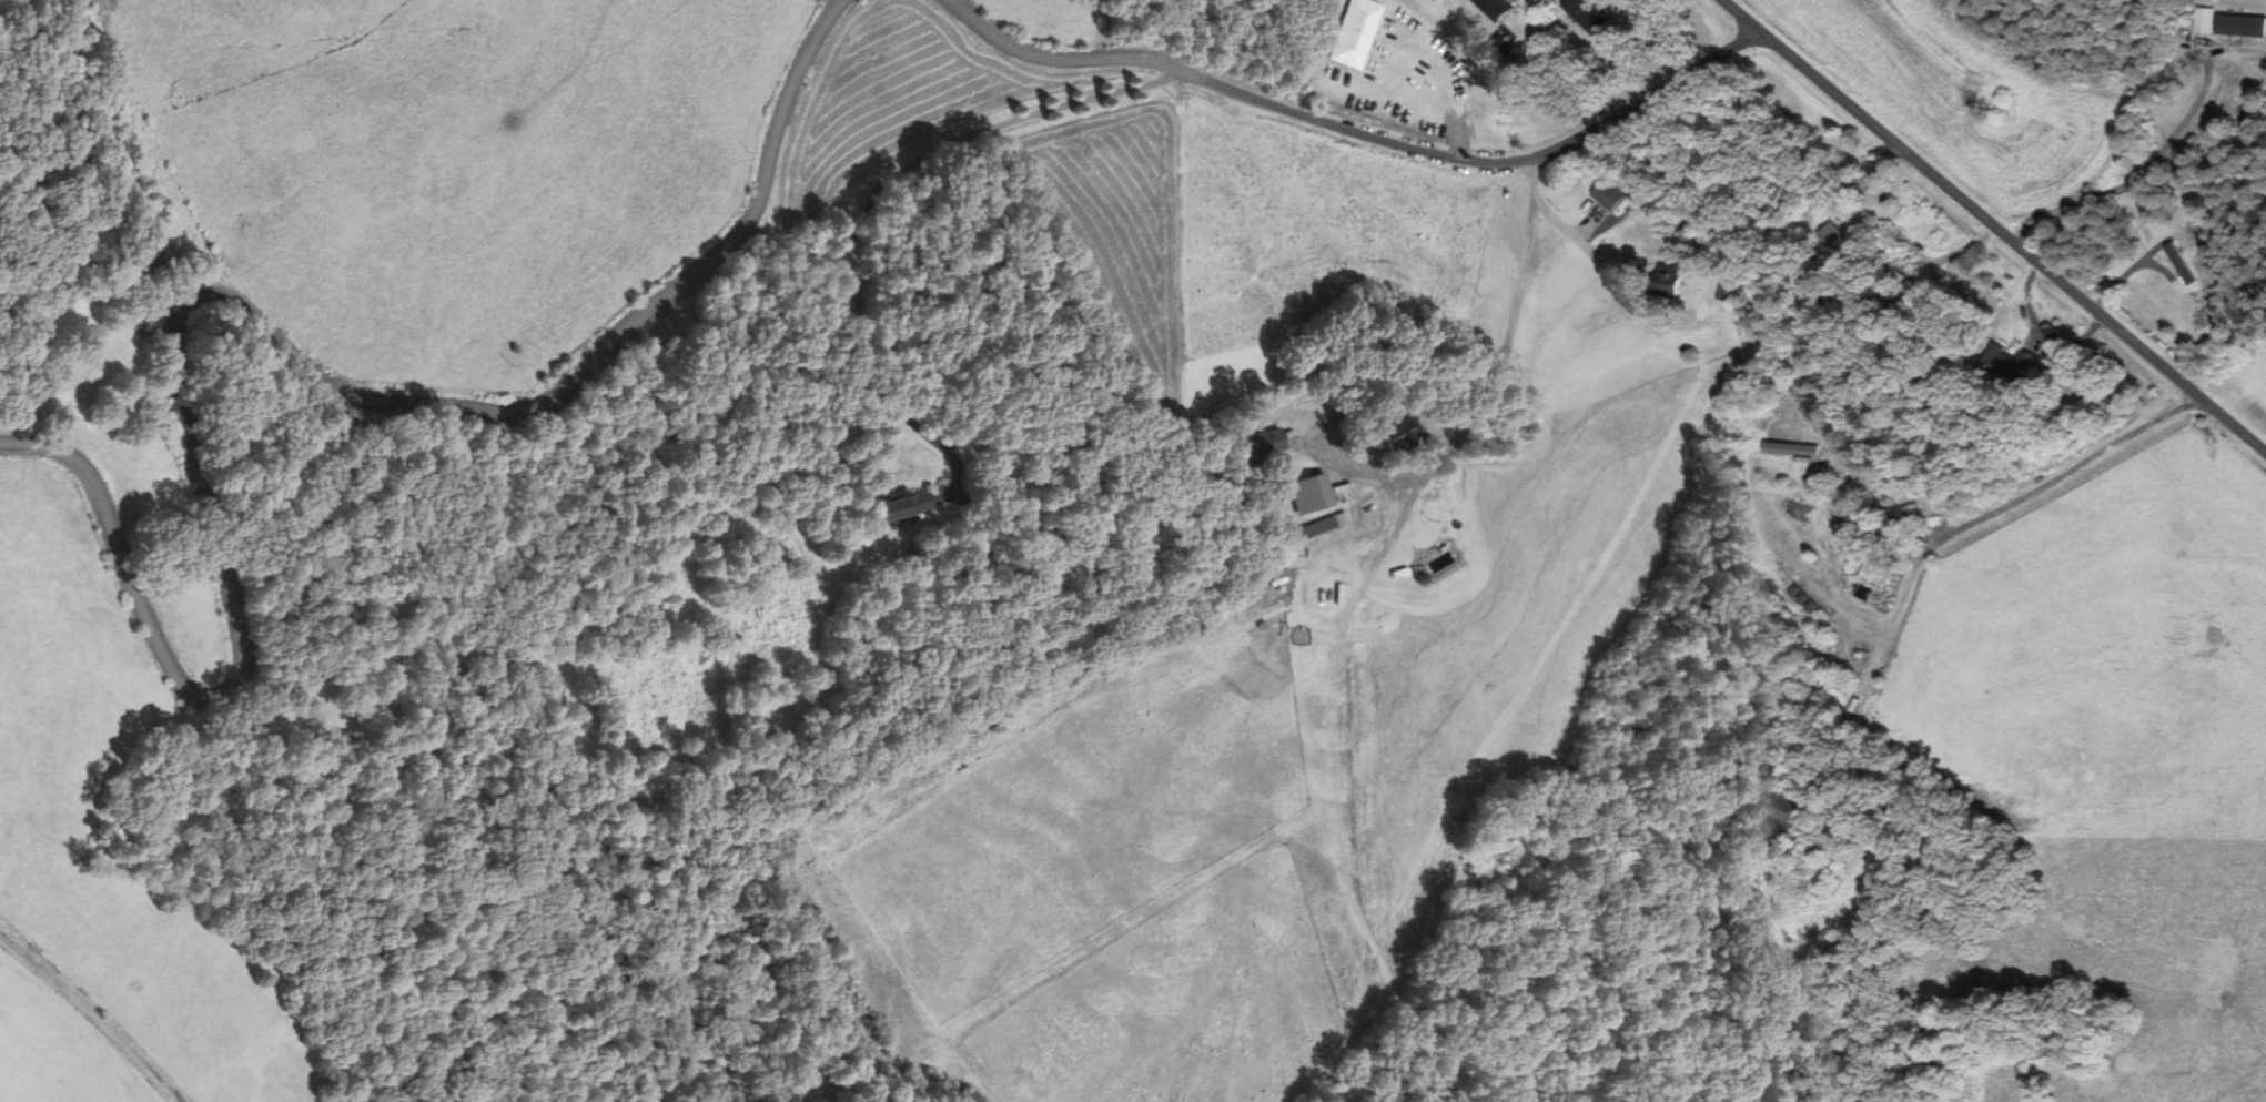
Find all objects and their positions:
building: (1494, 8)
building: (1584, 14)
building: (2227, 23)
road: (1083, 61)
road: (1508, 163)
road: (866, 191)
building: (1601, 194)
road: (1991, 221)
building: (1893, 276)
building: (1663, 279)
road: (1518, 283)
building: (1721, 292)
road: (245, 311)
building: (2002, 364)
building: (2091, 387)
building: (1400, 434)
building: (1257, 445)
road: (2078, 463)
building: (1311, 494)
building: (902, 505)
building: (1324, 525)
building: (1874, 529)
building: (1800, 696)
building: (1771, 817)
road: (90, 1018)

